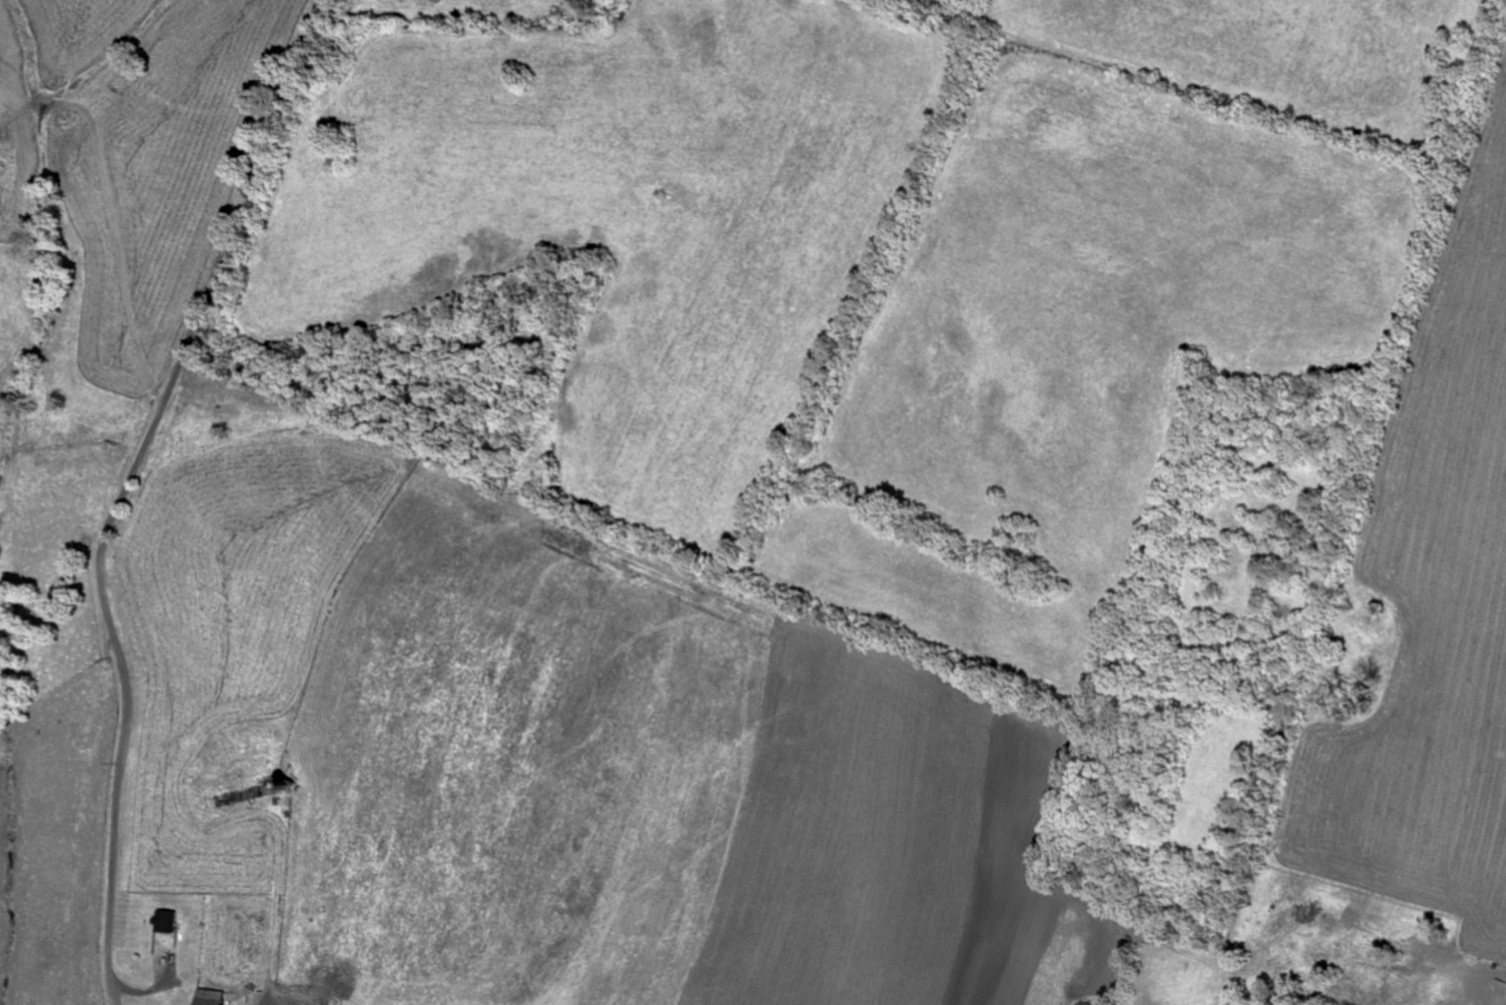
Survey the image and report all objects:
road: (215, 272)
building: (167, 920)
building: (214, 996)
building: (154, 1002)

